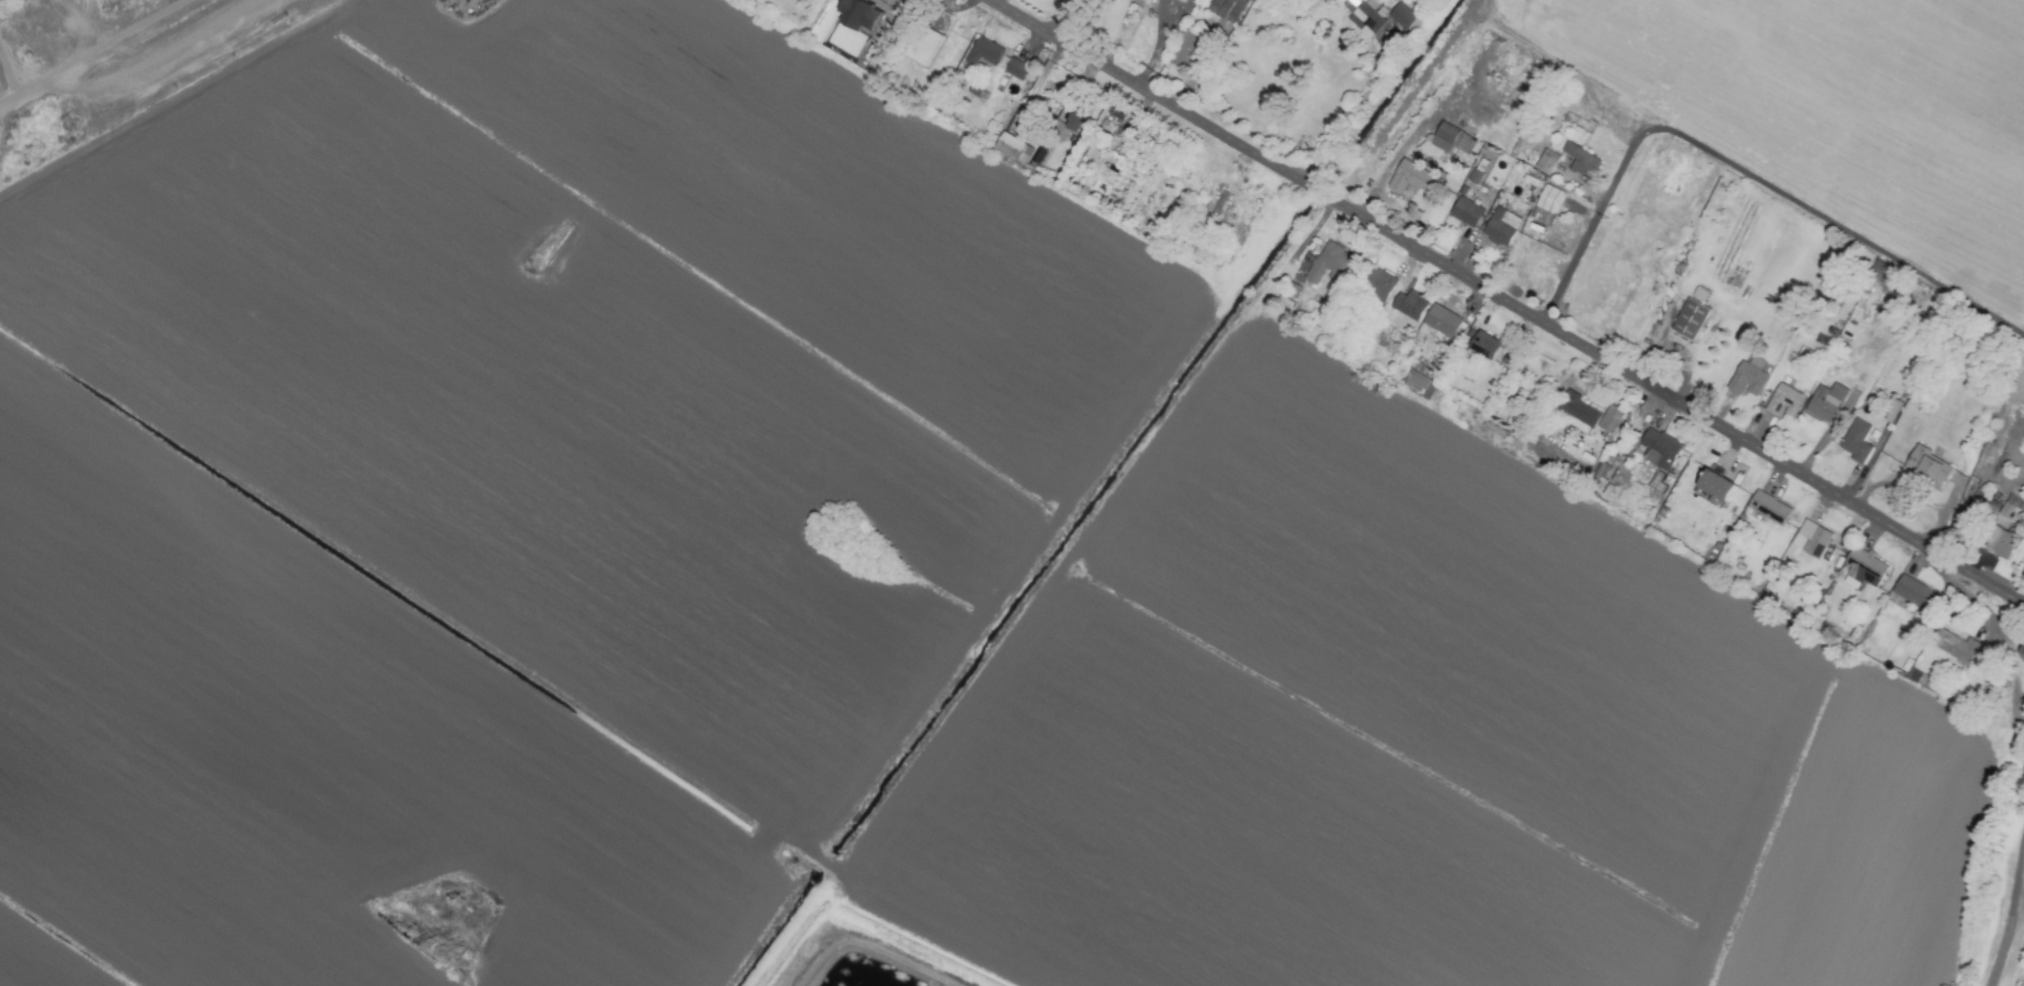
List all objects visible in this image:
building: (1145, 0)
building: (1225, 9)
building: (857, 15)
building: (1365, 16)
building: (1404, 19)
road: (458, 36)
building: (1184, 49)
road: (96, 52)
building: (983, 52)
building: (1015, 69)
road: (177, 102)
crop: (1833, 108)
road: (1348, 116)
building: (1072, 122)
building: (1108, 123)
road: (1423, 124)
building: (1451, 140)
building: (1012, 149)
building: (1091, 152)
building: (1580, 161)
building: (1545, 162)
road: (1741, 171)
building: (1474, 176)
building: (1414, 177)
building: (1546, 205)
road: (1396, 211)
building: (1465, 212)
building: (1500, 227)
building: (1327, 264)
building: (1879, 271)
road: (1457, 274)
building: (1377, 284)
building: (1699, 294)
building: (1409, 305)
building: (1689, 320)
building: (1441, 321)
building: (1483, 347)
building: (1748, 377)
building: (1418, 385)
building: (1783, 402)
building: (1825, 403)
building: (1891, 412)
building: (1577, 413)
building: (1609, 419)
building: (1856, 442)
building: (1658, 449)
building: (1927, 467)
building: (1656, 483)
building: (1715, 488)
building: (1768, 508)
building: (2003, 528)
building: (1813, 539)
road: (1016, 565)
crop: (833, 566)
building: (1864, 569)
road: (1975, 578)
building: (1913, 593)
road: (397, 596)
road: (2005, 635)
building: (1954, 647)
road: (2009, 908)
road: (863, 950)

